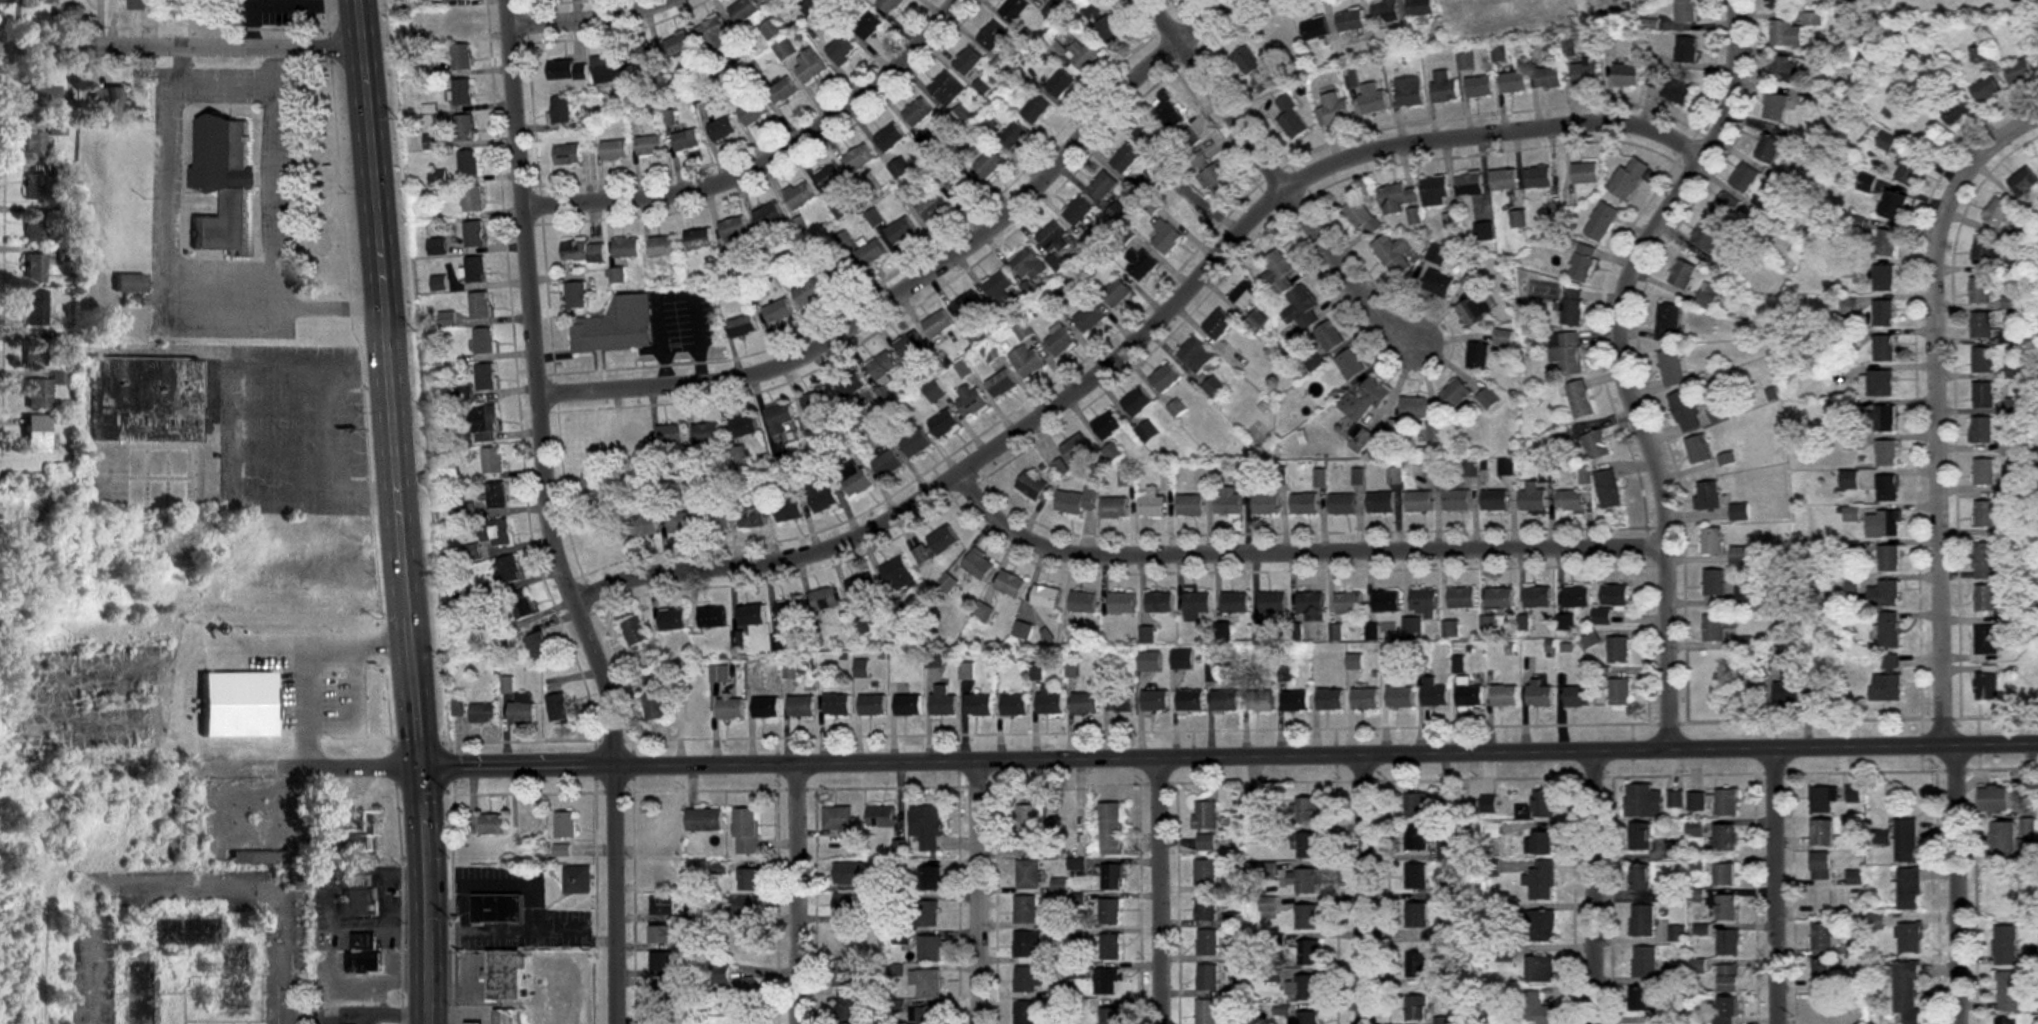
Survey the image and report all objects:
building: (453, 0)
building: (772, 0)
building: (41, 1)
building: (7, 2)
building: (136, 4)
building: (1780, 4)
building: (891, 5)
park: (1956, 5)
building: (1421, 7)
building: (1015, 9)
building: (1056, 10)
building: (744, 11)
building: (1686, 11)
building: (1095, 12)
building: (1386, 12)
road: (597, 16)
building: (1351, 19)
building: (458, 22)
building: (869, 25)
building: (773, 28)
building: (1315, 28)
building: (1108, 30)
building: (1786, 34)
building: (715, 35)
building: (993, 36)
building: (1279, 40)
building: (679, 45)
road: (180, 48)
building: (842, 48)
building: (785, 49)
building: (1687, 49)
building: (1500, 53)
building: (461, 57)
building: (643, 57)
building: (1082, 57)
building: (969, 61)
building: (1466, 62)
building: (811, 67)
building: (1253, 69)
building: (607, 70)
building: (1785, 70)
building: (567, 71)
building: (2020, 73)
building: (1586, 74)
building: (1626, 75)
building: (1549, 77)
road: (222, 81)
building: (1514, 82)
building: (1059, 84)
building: (1480, 86)
building: (1444, 87)
building: (947, 89)
building: (1986, 90)
building: (463, 92)
building: (783, 92)
building: (1410, 92)
building: (1677, 92)
building: (40, 96)
building: (108, 96)
building: (1373, 98)
building: (1776, 107)
building: (706, 110)
building: (1035, 110)
building: (1334, 110)
building: (561, 111)
building: (1167, 111)
building: (919, 112)
building: (1956, 112)
building: (754, 113)
building: (961, 117)
building: (1291, 119)
building: (465, 128)
building: (56, 129)
building: (722, 130)
building: (1146, 133)
building: (1013, 137)
building: (890, 138)
building: (688, 141)
building: (1189, 141)
building: (33, 145)
building: (1771, 146)
building: (650, 147)
building: (615, 152)
building: (568, 155)
building: (860, 158)
building: (1124, 159)
road: (778, 160)
building: (1198, 161)
building: (469, 163)
building: (988, 164)
building: (1910, 171)
building: (1586, 173)
road: (269, 176)
building: (830, 176)
building: (1538, 177)
building: (438, 178)
building: (1217, 178)
building: (1629, 178)
building: (1745, 178)
building: (1504, 180)
building: (2024, 182)
building: (222, 183)
road: (1272, 184)
building: (1470, 184)
building: (961, 186)
building: (1102, 186)
building: (34, 187)
building: (1435, 191)
building: (801, 196)
building: (473, 199)
building: (1396, 199)
building: (1896, 205)
building: (931, 207)
building: (1725, 207)
building: (1077, 211)
building: (1191, 212)
building: (1998, 212)
building: (1358, 213)
building: (769, 215)
building: (874, 218)
building: (1518, 219)
building: (1602, 222)
building: (34, 227)
building: (734, 231)
building: (900, 231)
building: (1483, 231)
building: (474, 234)
building: (1708, 234)
building: (1166, 237)
building: (1053, 238)
building: (699, 239)
building: (1888, 242)
building: (437, 246)
building: (664, 247)
building: (627, 248)
building: (584, 252)
building: (1988, 252)
building: (870, 253)
building: (1438, 254)
building: (1393, 255)
building: (1581, 261)
building: (1140, 263)
building: (1028, 265)
building: (1718, 265)
building: (34, 268)
building: (1851, 268)
building: (475, 269)
road: (937, 269)
building: (1278, 272)
building: (839, 273)
building: (1682, 274)
building: (618, 276)
building: (1884, 277)
building: (128, 283)
building: (438, 283)
building: (1438, 283)
building: (997, 286)
road: (167, 288)
building: (1981, 290)
building: (807, 292)
building: (1117, 293)
building: (1246, 293)
building: (576, 295)
building: (1707, 297)
building: (2010, 302)
building: (480, 305)
building: (1472, 305)
building: (966, 306)
building: (1301, 307)
building: (1573, 307)
building: (34, 309)
building: (777, 311)
building: (1884, 313)
building: (1089, 318)
building: (1257, 320)
building: (1219, 323)
building: (1668, 323)
building: (937, 324)
building: (1982, 324)
building: (742, 326)
building: (615, 327)
building: (1329, 336)
road: (1142, 337)
building: (1504, 337)
building: (484, 341)
building: (1061, 342)
building: (909, 345)
building: (1885, 348)
building: (33, 353)
building: (992, 353)
building: (1566, 353)
building: (1196, 354)
building: (1478, 356)
building: (1983, 360)
building: (1028, 361)
road: (1626, 362)
building: (1350, 364)
building: (881, 366)
building: (1672, 369)
building: (485, 377)
building: (1165, 378)
building: (1881, 383)
building: (848, 385)
building: (1002, 385)
building: (1214, 387)
building: (41, 391)
building: (1455, 393)
building: (1984, 396)
building: (146, 399)
building: (1488, 399)
building: (970, 400)
building: (1364, 400)
building: (1580, 400)
building: (815, 402)
building: (1137, 402)
building: (1177, 408)
building: (1414, 408)
building: (1685, 412)
road: (1943, 412)
building: (1885, 418)
building: (781, 422)
building: (484, 424)
building: (944, 424)
building: (1108, 425)
building: (743, 427)
road: (256, 429)
building: (1983, 430)
building: (1437, 431)
building: (705, 433)
building: (876, 433)
building: (34, 434)
building: (670, 435)
building: (635, 436)
building: (1360, 438)
building: (915, 444)
building: (1596, 446)
building: (1076, 449)
building: (1698, 450)
building: (1887, 453)
building: (737, 455)
building: (2035, 457)
building: (492, 460)
building: (887, 463)
building: (1470, 467)
building: (1505, 467)
building: (1984, 472)
building: (1203, 474)
building: (1127, 477)
building: (857, 484)
building: (763, 485)
building: (1032, 486)
building: (592, 488)
building: (1888, 488)
building: (1608, 489)
building: (496, 495)
building: (821, 495)
building: (1707, 496)
building: (614, 497)
building: (1532, 497)
building: (1456, 500)
building: (1494, 500)
building: (1570, 500)
building: (1076, 501)
building: (1228, 502)
building: (1418, 502)
building: (1380, 503)
building: (1152, 504)
building: (1266, 504)
building: (1304, 504)
building: (1342, 504)
building: (1190, 505)
building: (1114, 507)
road: (406, 510)
building: (788, 511)
building: (1739, 512)
building: (1985, 514)
road: (554, 515)
building: (753, 517)
building: (716, 521)
building: (681, 522)
building: (1884, 524)
building: (644, 526)
building: (495, 531)
building: (1711, 541)
building: (935, 546)
building: (472, 552)
road: (1304, 552)
building: (1739, 556)
building: (1890, 558)
building: (1986, 561)
building: (977, 566)
building: (507, 569)
building: (897, 575)
building: (1714, 582)
building: (1010, 585)
building: (861, 588)
building: (1885, 594)
building: (1537, 596)
building: (1576, 596)
building: (1045, 597)
building: (1461, 598)
building: (1498, 598)
building: (1744, 598)
building: (1986, 599)
building: (824, 600)
building: (1159, 602)
building: (1386, 602)
building: (1083, 603)
building: (1121, 603)
building: (1235, 603)
building: (1348, 603)
building: (1610, 603)
building: (521, 604)
building: (1196, 604)
building: (1272, 604)
building: (1311, 607)
building: (1420, 609)
building: (788, 611)
building: (983, 613)
building: (750, 616)
building: (711, 617)
building: (672, 620)
building: (1713, 629)
building: (1889, 631)
building: (635, 632)
building: (1023, 632)
building: (1071, 636)
building: (1987, 640)
building: (538, 646)
building: (1617, 650)
road: (309, 653)
building: (1182, 659)
building: (719, 674)
building: (1888, 681)
building: (1988, 684)
building: (1788, 689)
building: (304, 692)
building: (1620, 692)
building: (1822, 692)
building: (1434, 693)
building: (1539, 695)
building: (1470, 696)
building: (1504, 696)
building: (1400, 697)
building: (1577, 697)
building: (1365, 699)
building: (1330, 700)
building: (1155, 701)
building: (1190, 701)
building: (1225, 701)
building: (943, 702)
building: (1049, 702)
building: (1121, 702)
building: (1261, 702)
building: (1295, 702)
building: (1085, 703)
building: (234, 704)
building: (837, 705)
building: (978, 705)
building: (1014, 705)
building: (872, 706)
building: (908, 706)
building: (654, 707)
building: (801, 707)
building: (458, 708)
building: (557, 708)
building: (765, 708)
building: (522, 709)
building: (730, 709)
building: (694, 710)
building: (483, 713)
road: (1229, 755)
road: (316, 768)
traffic signals: (420, 768)
building: (1675, 800)
building: (1823, 800)
building: (1995, 800)
building: (1643, 801)
building: (1714, 802)
building: (1489, 805)
building: (1544, 805)
building: (1416, 806)
building: (1307, 811)
building: (1067, 814)
building: (1206, 816)
building: (881, 817)
building: (704, 820)
building: (840, 821)
building: (493, 825)
building: (565, 826)
building: (662, 826)
building: (926, 827)
building: (1033, 828)
building: (1111, 829)
building: (746, 831)
building: (1825, 833)
building: (1640, 837)
building: (1416, 838)
building: (1727, 838)
building: (347, 839)
building: (2008, 841)
building: (1906, 842)
building: (1206, 843)
building: (1544, 845)
building: (1308, 846)
building: (563, 851)
building: (1673, 851)
building: (264, 858)
building: (1821, 867)
building: (1205, 873)
building: (849, 874)
building: (1029, 875)
building: (1726, 875)
building: (667, 876)
building: (1112, 877)
building: (1416, 877)
building: (1640, 878)
building: (299, 879)
building: (930, 879)
building: (748, 880)
building: (577, 881)
building: (1302, 881)
building: (1540, 882)
road: (1957, 884)
road: (1777, 885)
road: (1595, 887)
road: (1362, 889)
road: (1157, 890)
building: (1909, 890)
road: (976, 893)
road: (188, 894)
road: (796, 894)
building: (356, 896)
building: (1828, 902)
building: (847, 904)
building: (663, 906)
building: (743, 907)
building: (1205, 908)
building: (1726, 908)
building: (497, 909)
building: (1026, 910)
building: (1109, 912)
building: (1491, 913)
building: (926, 915)
building: (1416, 916)
building: (1306, 918)
building: (1642, 921)
building: (1542, 927)
building: (749, 934)
building: (1678, 934)
building: (661, 937)
building: (1822, 938)
building: (846, 939)
building: (1910, 939)
building: (1207, 943)
building: (1728, 943)
building: (1027, 944)
building: (2005, 946)
building: (1110, 947)
building: (929, 949)
building: (362, 954)
building: (1308, 954)
building: (1505, 955)
building: (663, 964)
building: (1648, 964)
building: (1416, 965)
building: (1540, 970)
building: (1823, 972)
building: (846, 973)
building: (720, 974)
building: (504, 976)
building: (1727, 978)
building: (1208, 979)
building: (230, 980)
building: (1027, 980)
building: (1106, 982)
building: (927, 983)
building: (1302, 989)
building: (748, 991)
building: (1907, 991)
building: (2009, 991)
building: (139, 992)
building: (661, 994)
building: (1644, 1001)
building: (1416, 1008)
building: (1827, 1008)
building: (847, 1009)
building: (1533, 1009)
building: (1726, 1011)
building: (1206, 1012)
building: (1025, 1013)
building: (925, 1015)
building: (1112, 1015)
building: (1671, 1016)
building: (506, 1017)
building: (1305, 1017)
building: (2005, 1020)
building: (1442, 1021)
building: (474, 1023)

